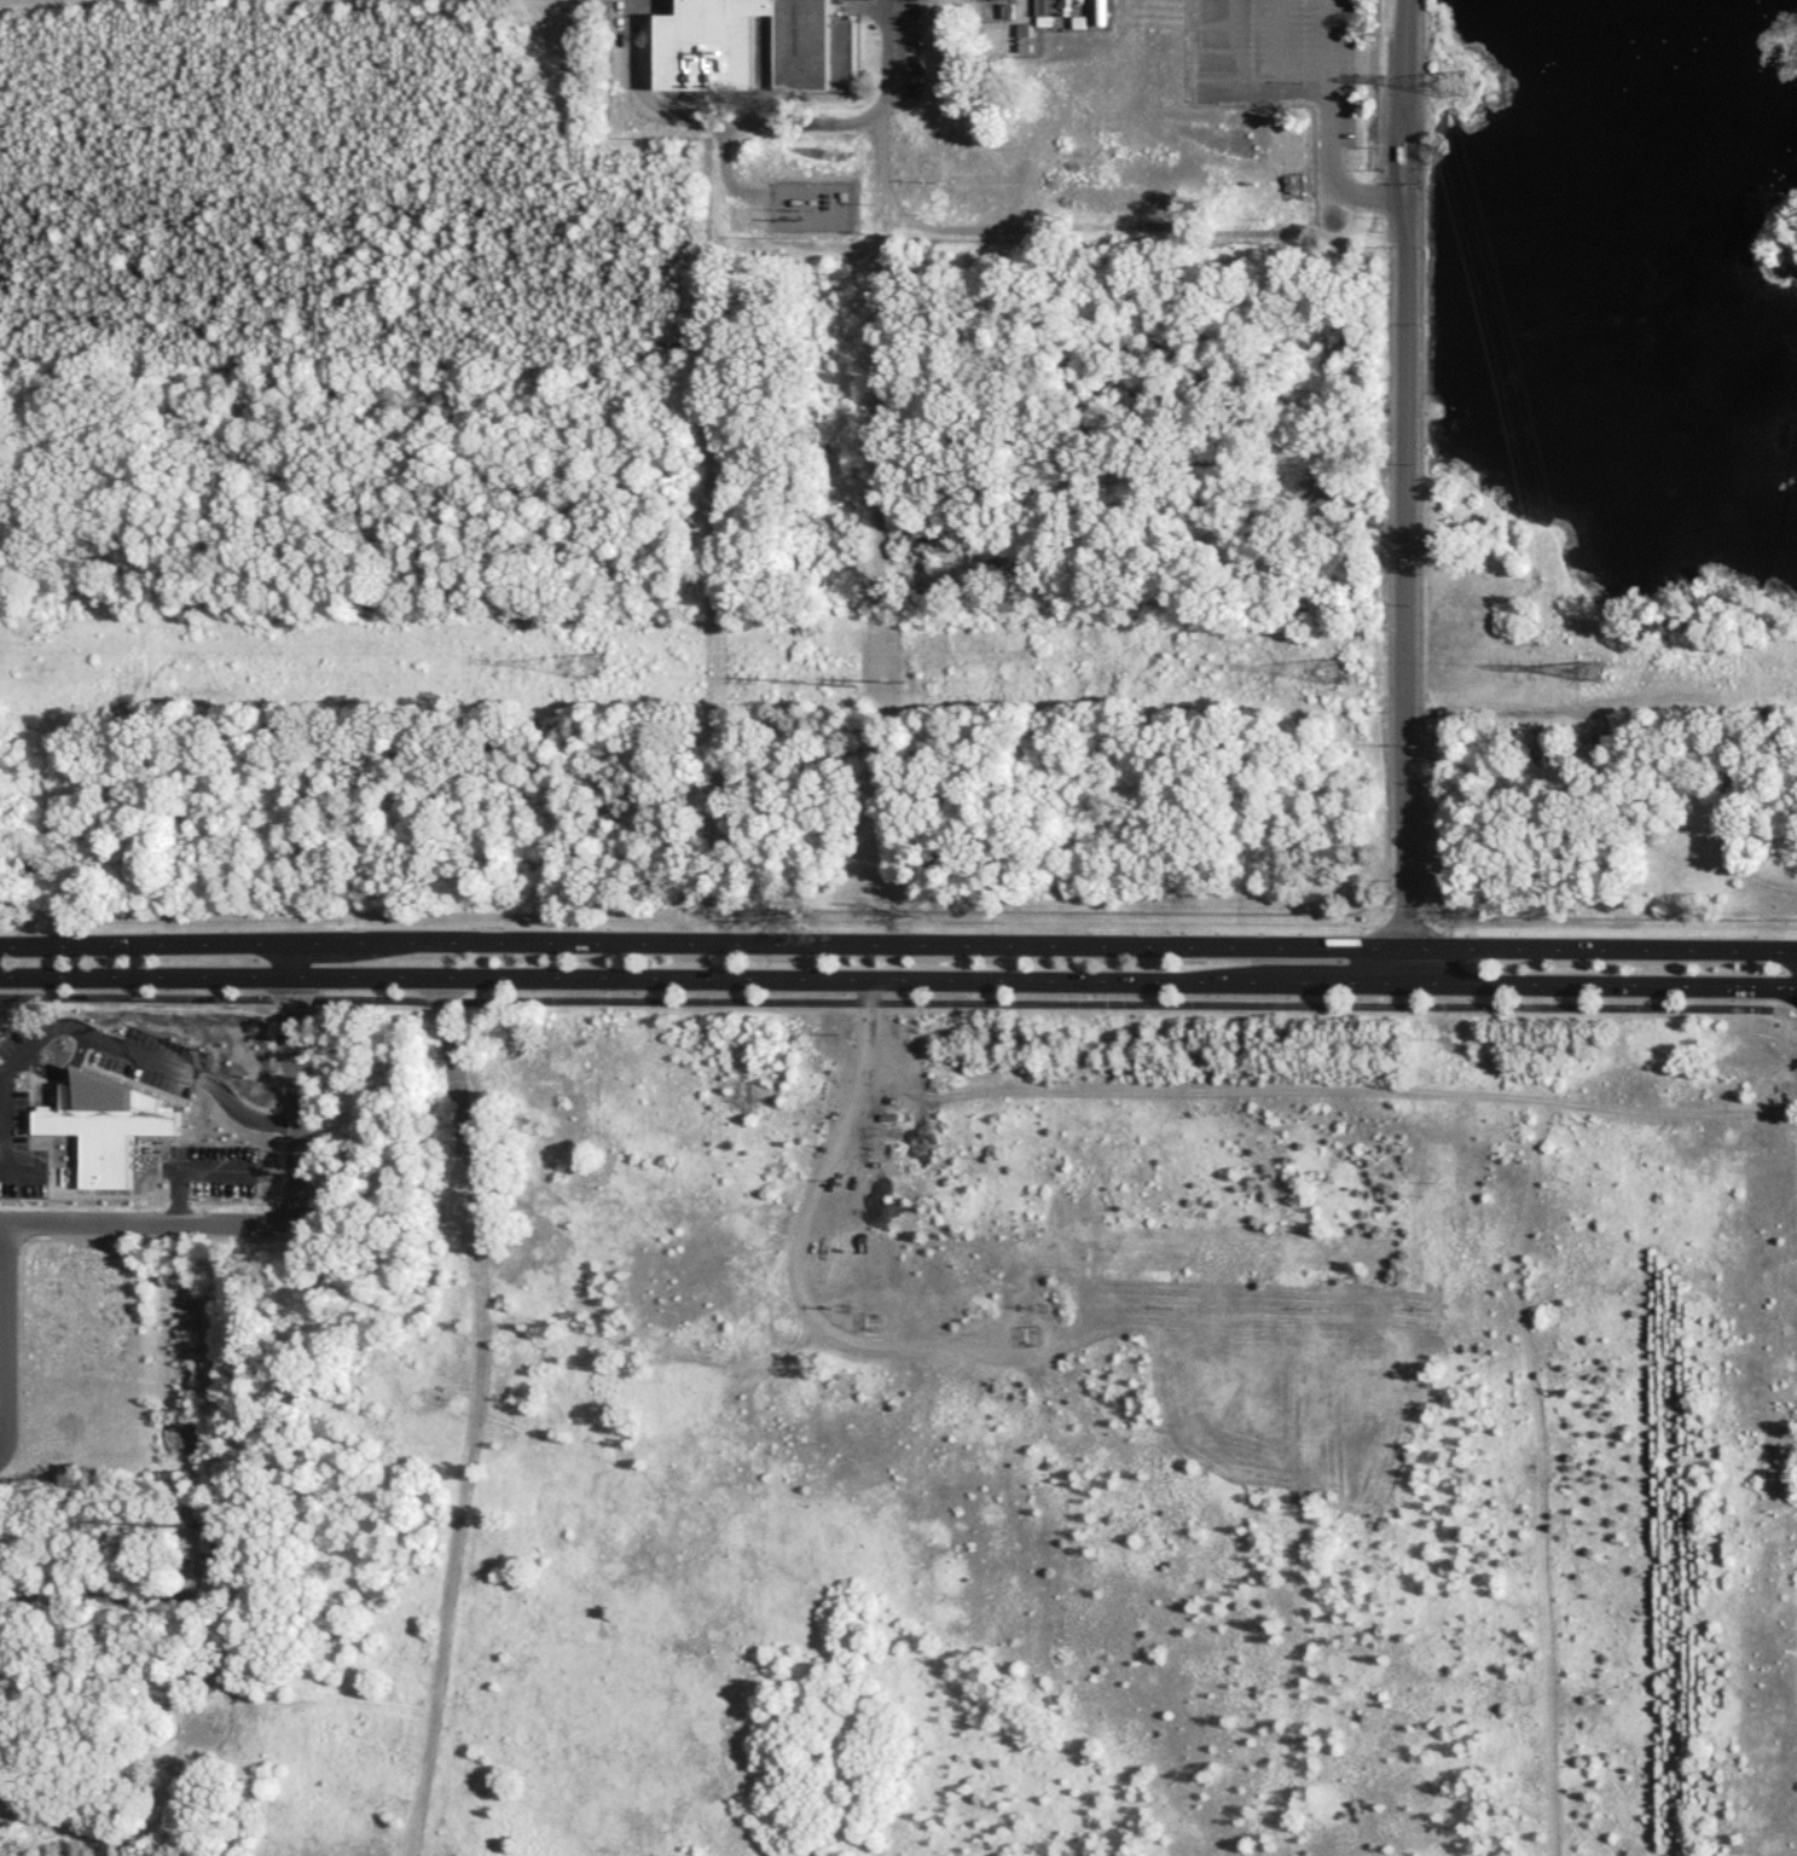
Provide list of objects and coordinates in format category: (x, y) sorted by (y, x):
building: (1042, 12)
road: (1275, 39)
road: (1327, 39)
building: (754, 46)
road: (1234, 77)
power tower: (1454, 83)
road: (1326, 112)
road: (765, 123)
road: (723, 174)
road: (1352, 191)
road: (1044, 230)
road: (1407, 493)
power tower: (582, 668)
power tower: (1333, 672)
power tower: (1589, 677)
road: (1685, 695)
road: (898, 946)
road: (288, 962)
road: (144, 980)
road: (1043, 982)
road: (898, 1008)
road: (1312, 1092)
road: (265, 1226)
road: (800, 1245)
road: (5, 1342)
road: (479, 1419)

